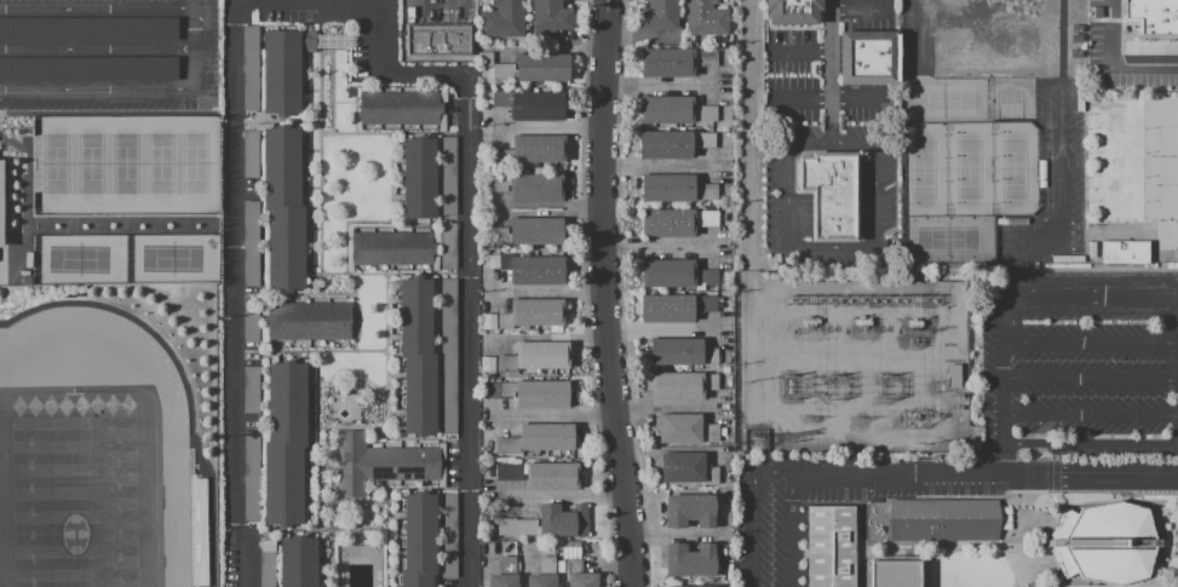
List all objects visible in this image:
road: (320, 0)
road: (352, 0)
road: (196, 4)
road: (98, 8)
road: (857, 8)
building: (793, 11)
building: (550, 15)
parking lot: (866, 15)
building: (657, 16)
building: (1151, 17)
building: (706, 18)
building: (504, 19)
road: (196, 29)
building: (90, 30)
road: (924, 34)
parking lot: (1094, 36)
building: (435, 38)
building: (323, 41)
road: (98, 50)
road: (801, 51)
parking lot: (108, 54)
building: (706, 58)
building: (868, 58)
building: (484, 59)
building: (667, 62)
road: (1114, 62)
building: (251, 68)
building: (534, 68)
building: (90, 70)
road: (829, 71)
building: (281, 73)
parking lot: (791, 75)
road: (116, 88)
road: (803, 98)
park: (942, 99)
park: (1010, 99)
parking lot: (866, 103)
building: (530, 105)
building: (402, 109)
building: (673, 110)
road: (5, 113)
road: (2, 114)
park: (1160, 125)
street lamp: (1147, 128)
road: (13, 144)
building: (672, 144)
parking lot: (1061, 146)
building: (533, 150)
street lamp: (1145, 152)
building: (251, 154)
road: (1059, 163)
park: (123, 166)
park: (969, 168)
park: (1013, 168)
park: (923, 169)
building: (447, 177)
street lamp: (1145, 177)
road: (27, 178)
building: (419, 179)
building: (530, 188)
park: (1160, 188)
building: (676, 189)
building: (831, 195)
building: (1, 201)
street lamp: (1145, 202)
building: (283, 208)
parking lot: (787, 219)
street lamp: (1161, 220)
building: (676, 221)
road: (1086, 228)
building: (529, 232)
road: (153, 235)
park: (946, 238)
building: (251, 243)
building: (448, 247)
building: (395, 249)
road: (832, 249)
building: (1124, 252)
park: (171, 259)
park: (79, 260)
street lamp: (1040, 265)
road: (1128, 266)
building: (528, 269)
road: (1111, 269)
building: (676, 274)
road: (4, 275)
road: (584, 294)
road: (599, 294)
road: (620, 294)
road: (1102, 295)
building: (674, 307)
building: (531, 313)
building: (308, 321)
building: (251, 322)
road: (1092, 341)
building: (679, 352)
building: (418, 356)
building: (448, 356)
building: (535, 357)
street lamp: (1010, 359)
parking lot: (1082, 359)
street lamp: (1111, 361)
power substation: (852, 362)
road: (182, 375)
building: (952, 375)
road: (1006, 375)
road: (1092, 379)
building: (682, 385)
building: (252, 390)
building: (533, 393)
road: (1091, 415)
building: (685, 430)
building: (536, 439)
power tower: (759, 443)
building: (285, 444)
road: (1092, 444)
power tower: (924, 447)
building: (379, 464)
road: (1050, 467)
building: (686, 468)
building: (540, 474)
road: (986, 474)
building: (252, 479)
park: (74, 490)
road: (1018, 490)
road: (1039, 490)
park: (77, 491)
road: (563, 495)
parking lot: (829, 501)
road: (1082, 501)
track: (176, 502)
road: (828, 502)
building: (689, 510)
road: (755, 511)
building: (942, 519)
building: (546, 523)
road: (889, 529)
road: (793, 530)
road: (862, 530)
building: (199, 533)
building: (448, 536)
building: (419, 540)
building: (1103, 543)
building: (829, 546)
road: (927, 546)
street lamp: (995, 549)
building: (690, 560)
building: (298, 562)
street lamp: (868, 563)
building: (268, 564)
road: (929, 566)
building: (504, 574)
building: (544, 574)
building: (897, 574)
building: (579, 575)
road: (1013, 583)
road: (1133, 585)
building: (686, 586)
road: (1016, 586)
road: (1110, 586)

